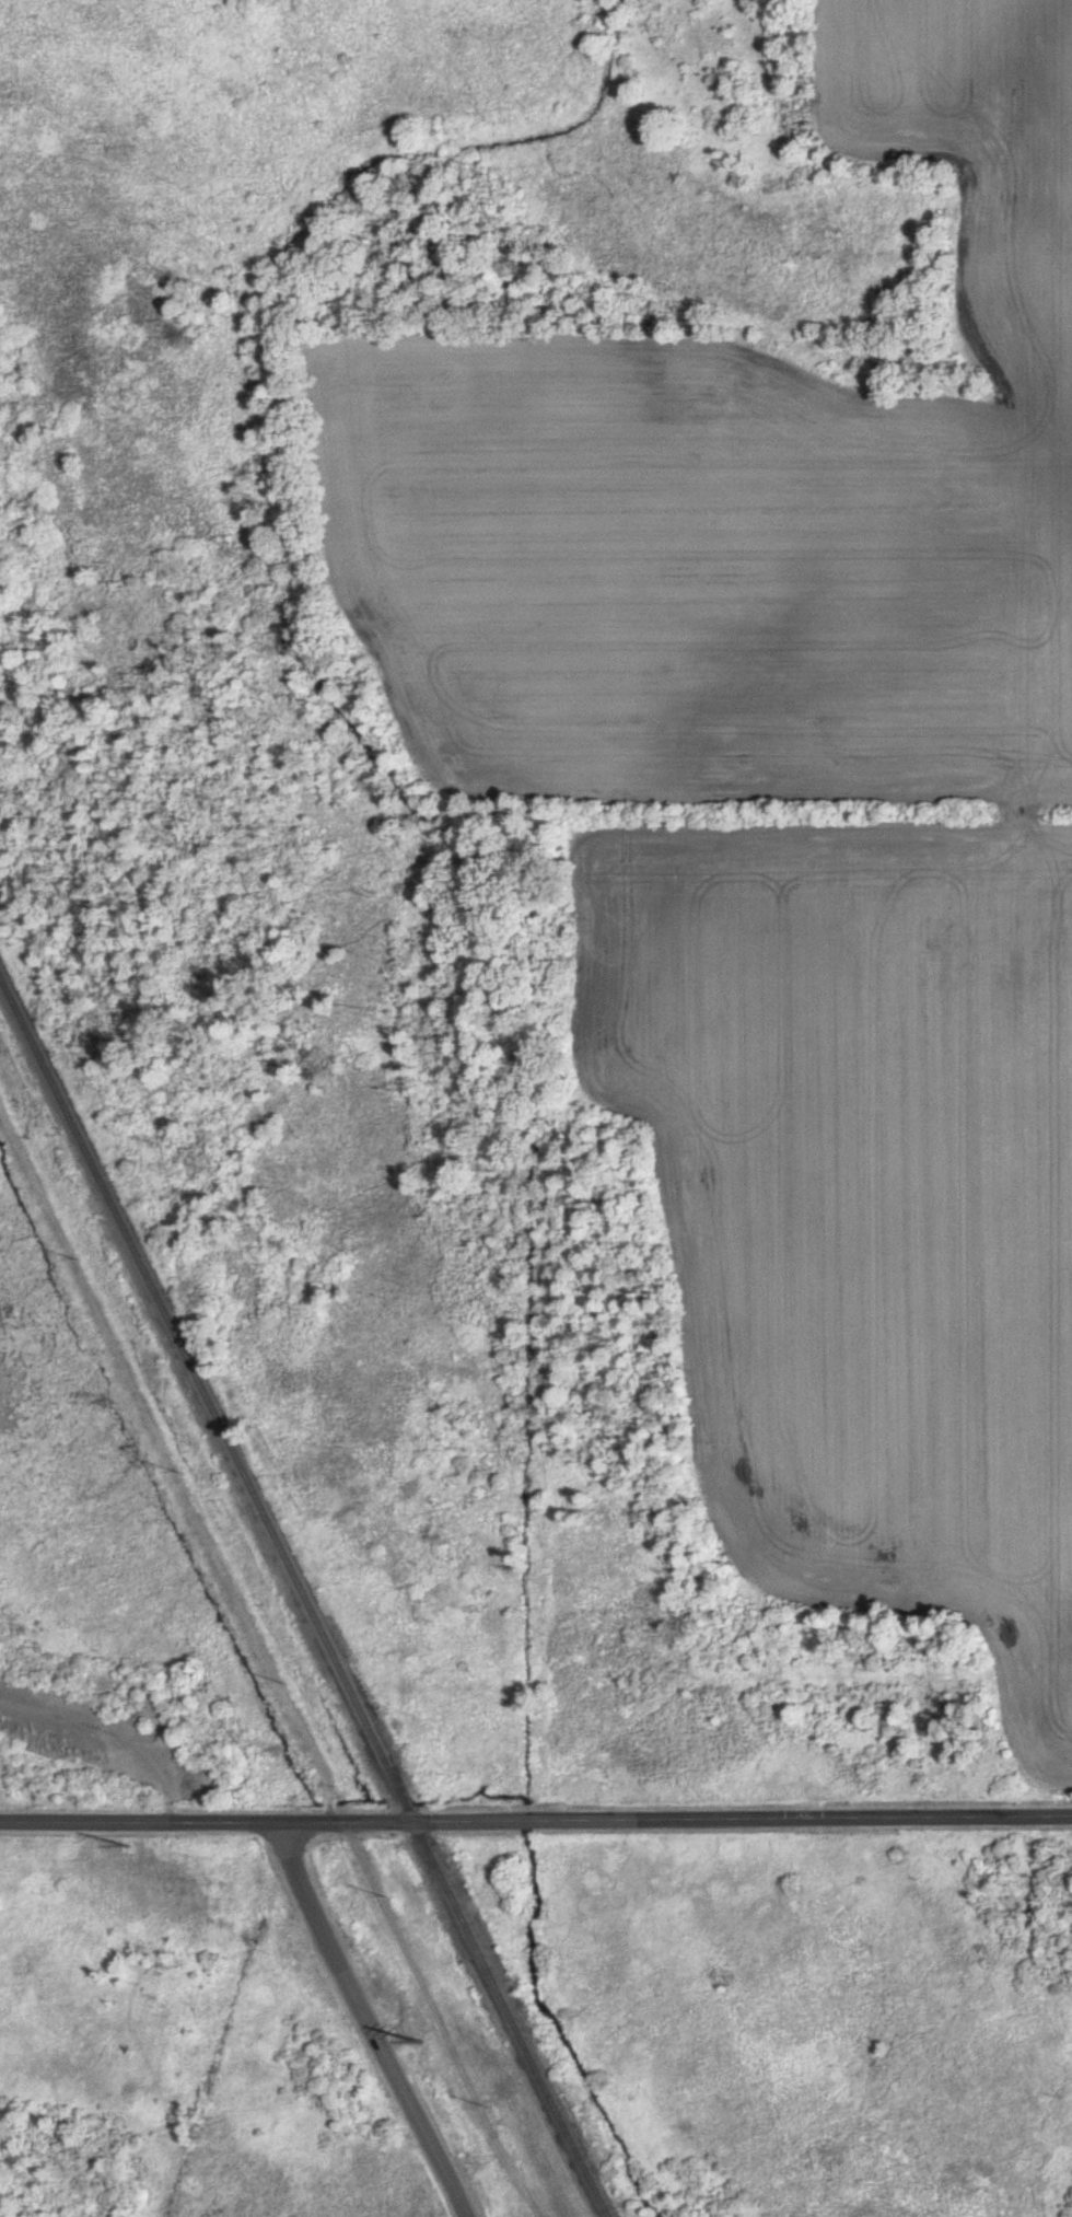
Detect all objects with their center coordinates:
power tower: (116, 1406)
railway: (304, 1600)
power tower: (286, 1751)
road: (536, 1822)
power tower: (142, 1847)
road: (373, 2021)
power tower: (420, 2024)

